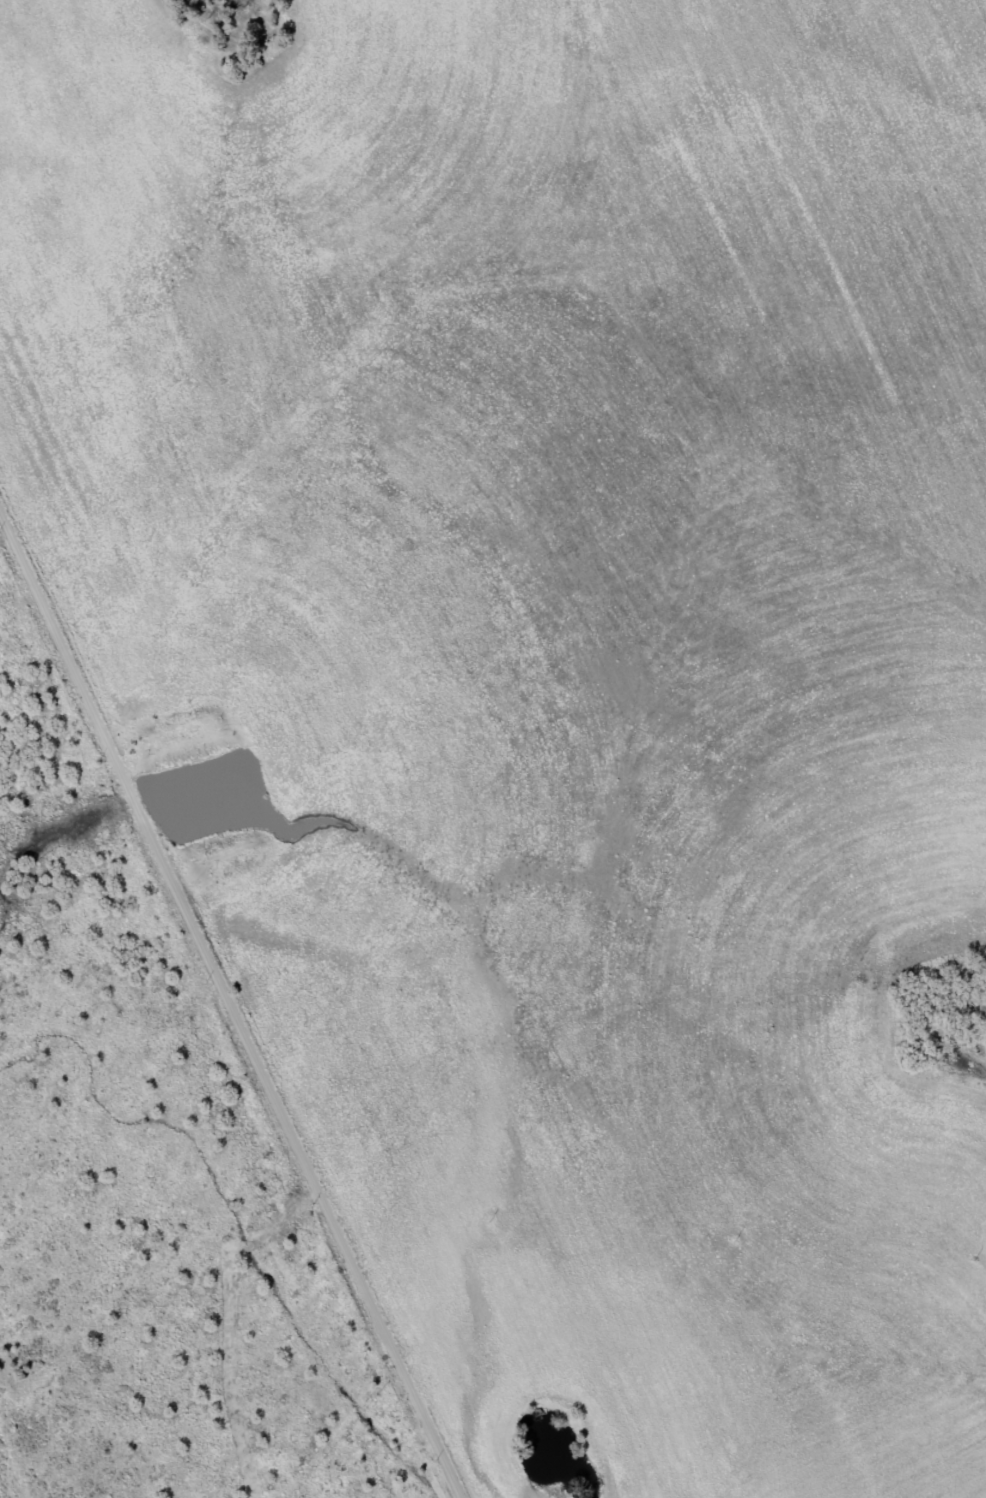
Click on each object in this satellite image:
road: (190, 910)
road: (424, 1407)

